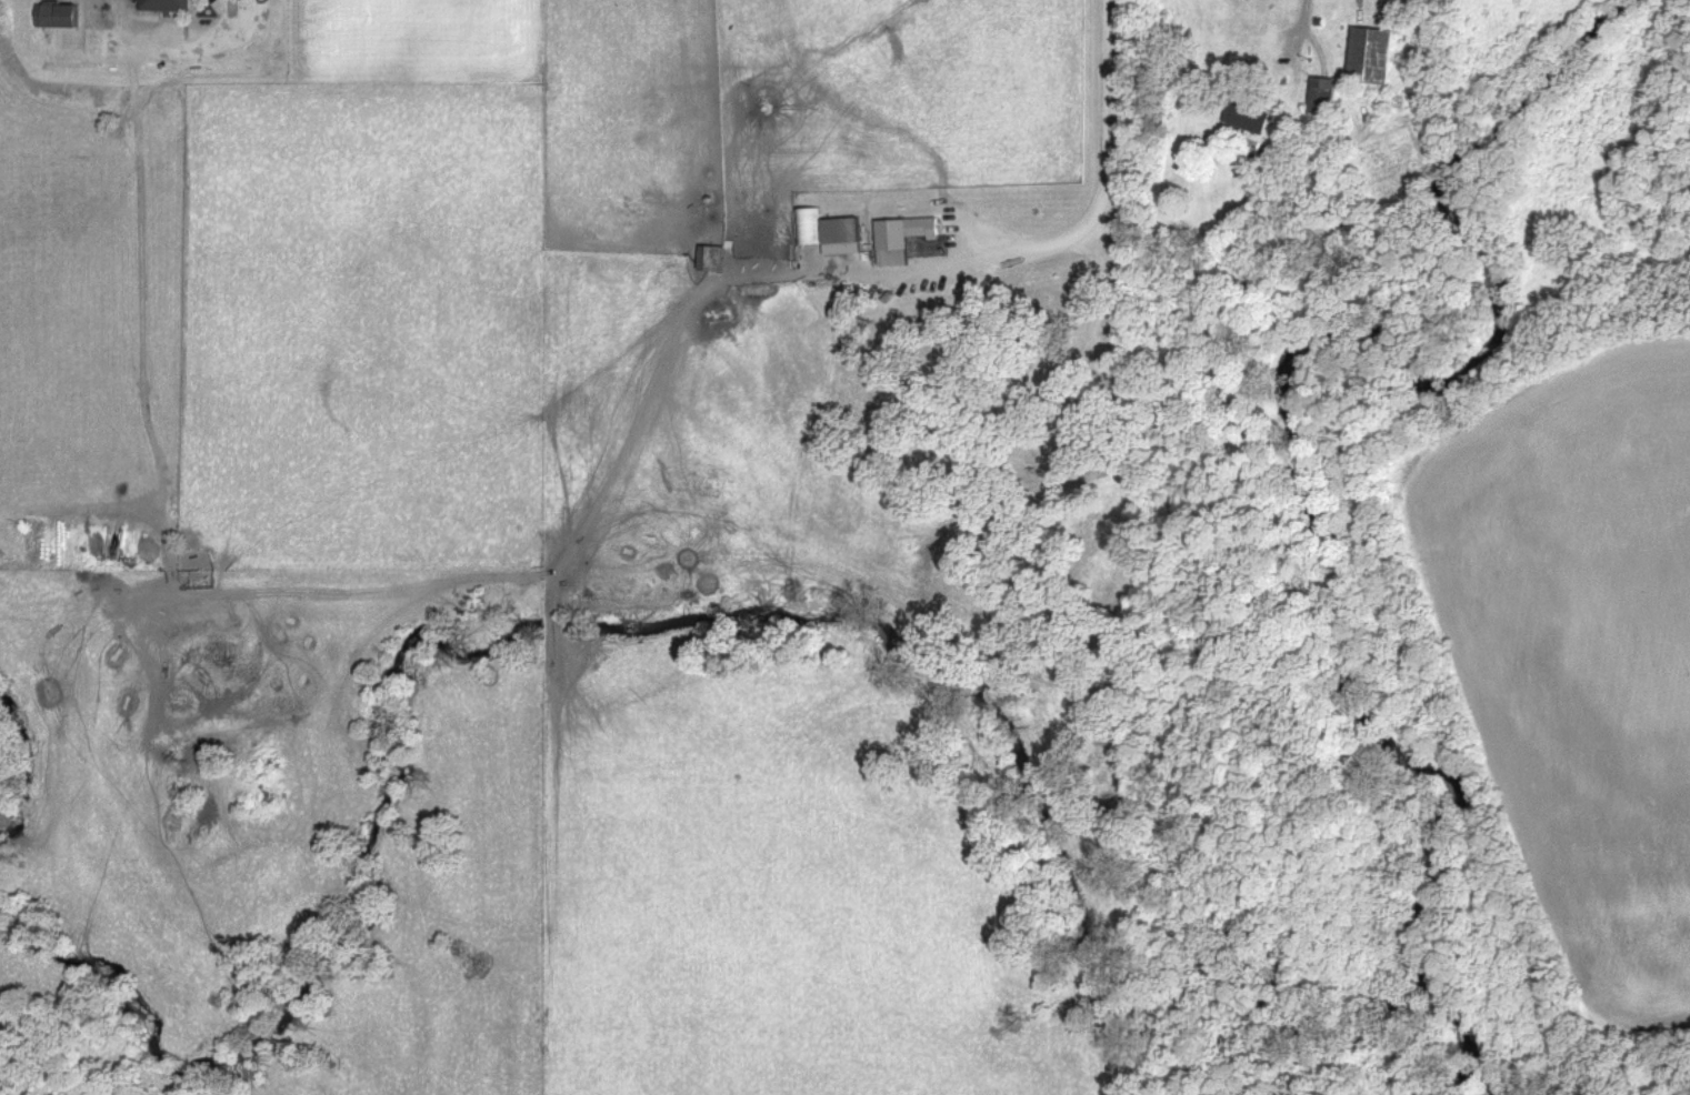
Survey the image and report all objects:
building: (168, 6)
road: (1306, 14)
building: (63, 16)
building: (1373, 57)
building: (1324, 97)
building: (1248, 119)
road: (1107, 179)
building: (811, 228)
building: (846, 237)
building: (906, 240)
road: (139, 249)
building: (716, 260)

